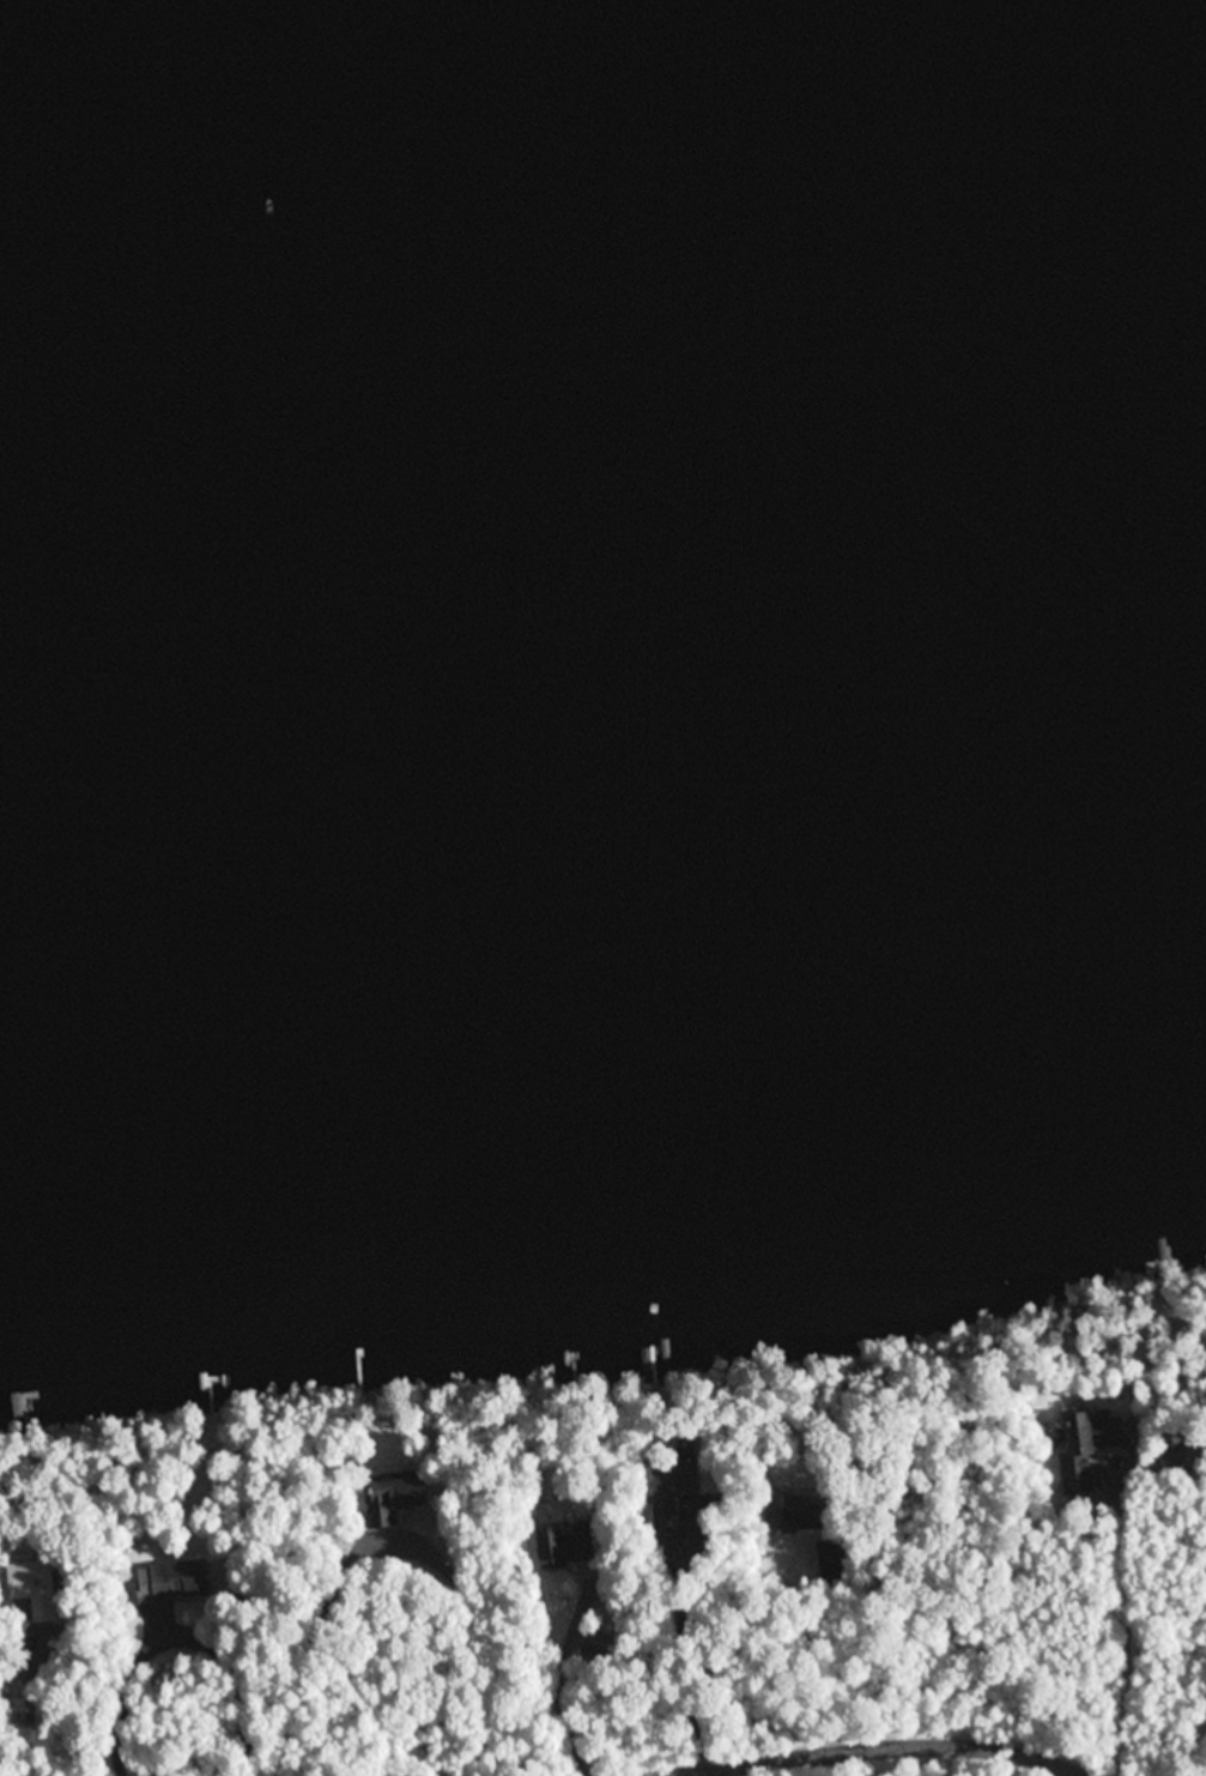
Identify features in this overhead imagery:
building: (1081, 1445)
road: (879, 1739)

